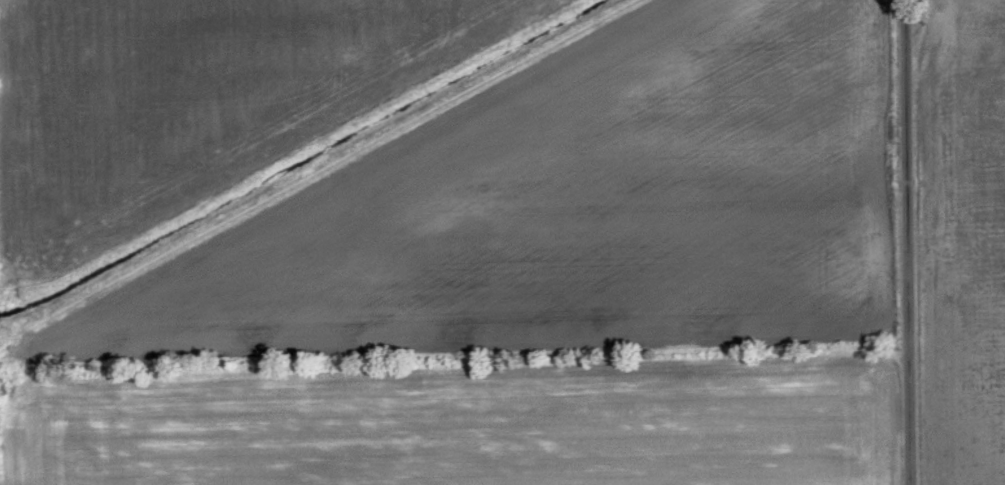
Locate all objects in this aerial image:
road: (907, 242)

